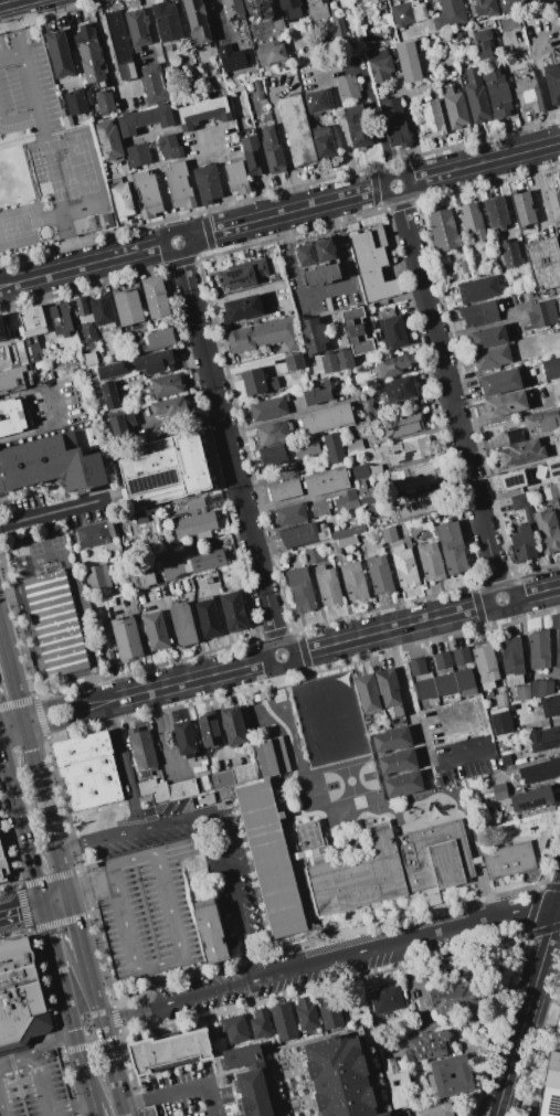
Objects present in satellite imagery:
road: (7, 1)
building: (541, 1)
building: (511, 4)
building: (368, 7)
building: (485, 8)
building: (316, 9)
building: (290, 10)
building: (418, 11)
building: (401, 14)
building: (450, 14)
building: (260, 17)
building: (166, 21)
building: (196, 21)
building: (509, 23)
building: (236, 24)
building: (338, 26)
road: (13, 29)
building: (137, 29)
building: (483, 43)
building: (120, 45)
building: (59, 53)
building: (271, 53)
building: (88, 54)
road: (107, 54)
building: (234, 57)
road: (10, 59)
building: (302, 60)
building: (409, 61)
building: (380, 64)
road: (338, 75)
building: (552, 82)
building: (152, 83)
road: (28, 85)
building: (348, 88)
building: (258, 89)
building: (446, 91)
building: (497, 93)
building: (88, 94)
building: (475, 95)
building: (527, 95)
building: (316, 100)
building: (75, 102)
building: (104, 105)
building: (455, 110)
building: (202, 111)
building: (266, 117)
building: (145, 118)
building: (433, 118)
road: (17, 119)
building: (66, 121)
building: (394, 123)
building: (357, 126)
building: (296, 129)
road: (204, 132)
road: (278, 135)
building: (108, 140)
building: (323, 140)
building: (169, 146)
parking lot: (52, 147)
building: (272, 151)
building: (137, 155)
building: (252, 156)
road: (483, 161)
road: (49, 166)
road: (85, 169)
road: (559, 171)
building: (235, 178)
road: (220, 179)
road: (406, 179)
building: (207, 184)
building: (179, 185)
road: (535, 192)
building: (147, 193)
building: (121, 200)
building: (553, 201)
building: (99, 205)
building: (93, 206)
building: (522, 208)
building: (496, 212)
road: (285, 213)
building: (472, 221)
park: (20, 226)
building: (443, 231)
road: (187, 235)
road: (67, 242)
building: (325, 249)
building: (305, 254)
building: (510, 255)
building: (543, 262)
road: (85, 264)
building: (371, 268)
building: (320, 275)
building: (237, 277)
road: (3, 284)
road: (3, 286)
building: (477, 289)
road: (244, 290)
road: (324, 295)
building: (155, 297)
building: (81, 306)
building: (127, 308)
building: (242, 308)
building: (103, 311)
building: (543, 312)
building: (478, 313)
building: (61, 319)
building: (32, 321)
road: (484, 325)
building: (2, 328)
building: (356, 330)
building: (87, 332)
building: (393, 332)
building: (266, 334)
building: (313, 336)
building: (487, 338)
building: (155, 341)
building: (33, 353)
building: (492, 358)
building: (89, 359)
building: (337, 361)
building: (154, 362)
building: (294, 362)
building: (392, 365)
building: (550, 368)
building: (15, 370)
building: (110, 371)
building: (313, 378)
building: (256, 382)
building: (500, 382)
building: (166, 385)
building: (401, 389)
road: (448, 392)
road: (10, 394)
building: (317, 394)
building: (109, 395)
parking lot: (53, 403)
building: (505, 404)
building: (169, 406)
building: (268, 408)
road: (509, 413)
building: (10, 416)
building: (325, 418)
building: (543, 419)
building: (120, 422)
building: (403, 424)
road: (46, 425)
building: (273, 433)
building: (516, 436)
building: (558, 436)
building: (355, 446)
road: (228, 447)
building: (306, 447)
building: (334, 447)
building: (408, 450)
building: (521, 453)
building: (274, 455)
building: (46, 459)
building: (162, 470)
building: (366, 470)
building: (553, 470)
building: (539, 471)
building: (413, 476)
building: (513, 480)
building: (326, 481)
building: (285, 490)
building: (557, 490)
building: (549, 492)
building: (364, 493)
building: (345, 503)
building: (422, 503)
building: (521, 506)
building: (319, 509)
road: (53, 510)
building: (290, 516)
building: (371, 519)
building: (194, 522)
building: (413, 528)
building: (547, 531)
building: (348, 532)
building: (94, 534)
building: (303, 534)
building: (389, 534)
building: (524, 543)
building: (341, 544)
building: (452, 548)
road: (65, 554)
building: (205, 562)
building: (430, 562)
building: (178, 564)
building: (403, 566)
building: (379, 575)
building: (97, 577)
building: (145, 577)
building: (353, 582)
building: (186, 586)
building: (328, 586)
building: (300, 589)
road: (538, 592)
road: (515, 604)
building: (232, 610)
building: (208, 619)
building: (50, 620)
building: (182, 625)
road: (391, 628)
building: (155, 631)
building: (126, 637)
building: (558, 648)
building: (538, 650)
building: (461, 656)
building: (109, 658)
road: (294, 658)
building: (442, 660)
building: (511, 660)
building: (485, 666)
building: (416, 667)
road: (10, 672)
building: (464, 679)
road: (192, 680)
building: (445, 683)
building: (540, 688)
building: (425, 689)
building: (389, 690)
building: (367, 692)
building: (522, 693)
building: (501, 700)
road: (67, 701)
building: (489, 705)
building: (550, 705)
traffic signals: (20, 712)
road: (10, 720)
road: (73, 721)
road: (218, 721)
road: (22, 722)
building: (500, 723)
road: (531, 723)
road: (412, 725)
building: (232, 726)
building: (209, 730)
road: (12, 732)
traffic signals: (25, 733)
building: (184, 738)
building: (545, 738)
building: (391, 740)
road: (162, 742)
building: (141, 748)
building: (271, 757)
building: (397, 762)
building: (505, 762)
building: (493, 764)
road: (124, 768)
building: (86, 769)
building: (540, 770)
building: (243, 773)
building: (222, 779)
building: (402, 784)
building: (167, 789)
building: (499, 791)
building: (531, 798)
road: (46, 815)
road: (213, 818)
road: (21, 821)
building: (542, 840)
road: (173, 849)
building: (270, 858)
building: (508, 860)
building: (384, 864)
building: (2, 869)
road: (88, 882)
traffic signals: (67, 897)
traffic signals: (43, 904)
road: (33, 906)
parking lot: (237, 906)
road: (559, 907)
parking lot: (146, 912)
building: (208, 934)
road: (78, 939)
road: (180, 945)
road: (53, 947)
road: (327, 961)
road: (76, 987)
building: (22, 997)
building: (385, 998)
building: (451, 998)
road: (94, 1003)
park: (351, 1005)
road: (527, 1008)
building: (329, 1010)
road: (70, 1012)
building: (306, 1013)
building: (283, 1022)
building: (260, 1023)
building: (234, 1028)
building: (556, 1037)
road: (92, 1044)
building: (427, 1046)
road: (38, 1050)
building: (168, 1051)
road: (84, 1069)
road: (110, 1070)
building: (339, 1077)
building: (437, 1077)
building: (250, 1080)
parking lot: (32, 1084)
building: (397, 1084)
road: (40, 1085)
building: (551, 1087)
road: (180, 1090)
parking lot: (187, 1093)
road: (70, 1105)
road: (1, 1110)
road: (95, 1110)
building: (155, 1110)
building: (436, 1110)
road: (47, 1114)
building: (179, 1115)

